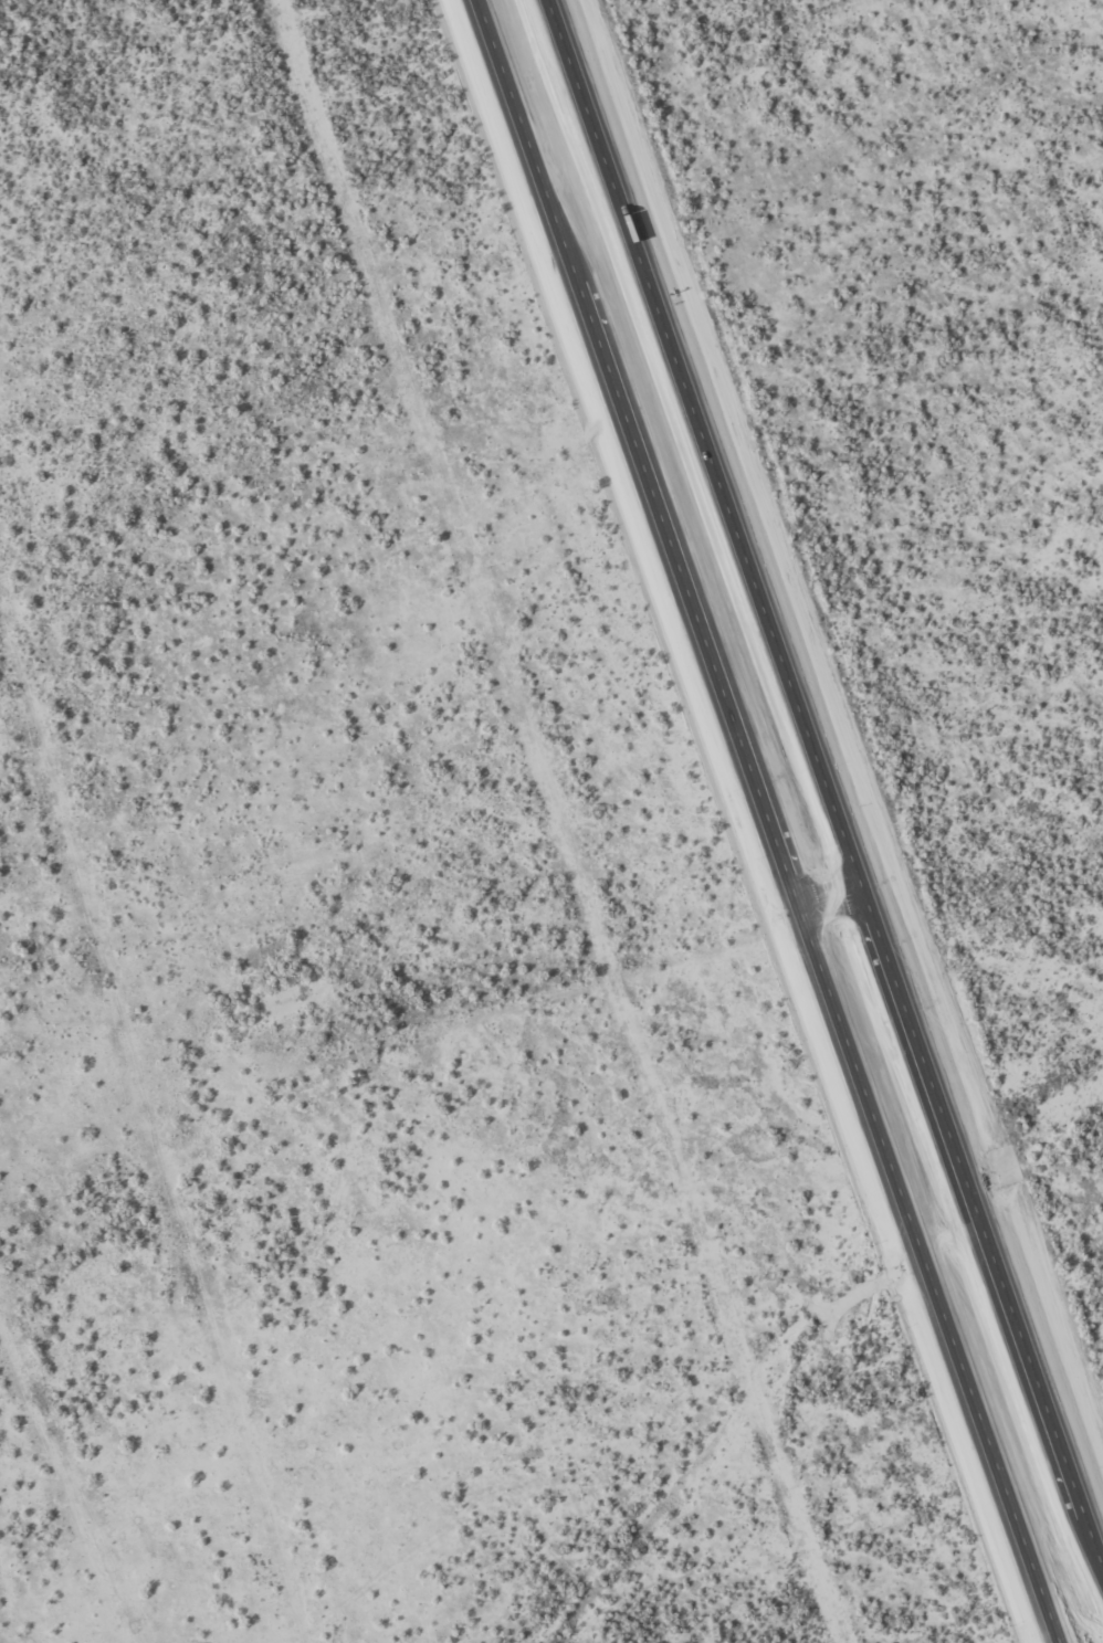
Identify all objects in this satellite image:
road: (826, 780)

